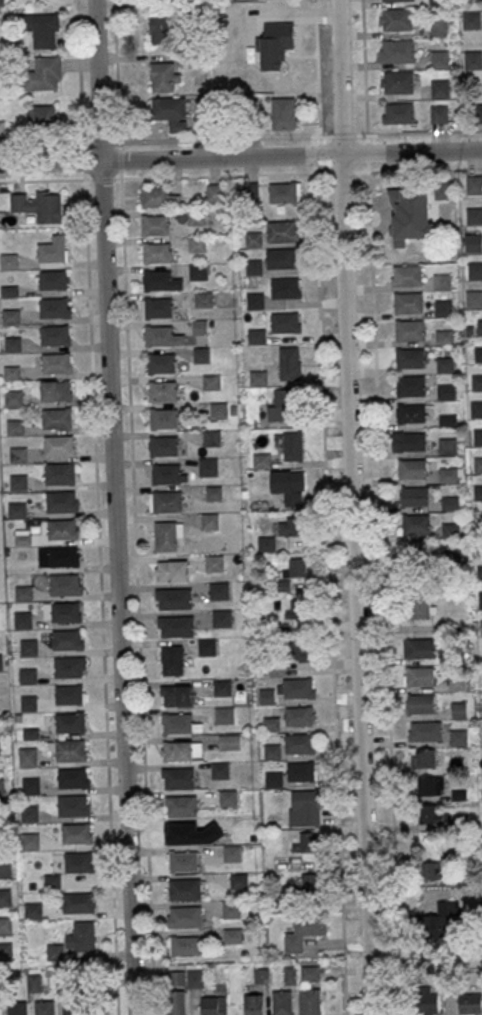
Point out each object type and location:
building: (391, 0)
building: (1, 3)
building: (397, 19)
building: (471, 19)
building: (43, 29)
building: (161, 29)
building: (274, 43)
building: (398, 50)
building: (439, 58)
building: (473, 58)
road: (363, 67)
road: (116, 70)
building: (44, 74)
building: (164, 77)
building: (399, 81)
building: (439, 88)
road: (80, 89)
building: (170, 112)
building: (283, 113)
building: (398, 113)
building: (438, 113)
building: (478, 113)
building: (42, 115)
road: (183, 139)
road: (366, 151)
road: (240, 156)
road: (119, 159)
road: (183, 176)
building: (474, 184)
building: (214, 192)
building: (284, 192)
building: (157, 197)
building: (38, 205)
building: (195, 216)
building: (473, 216)
building: (413, 217)
building: (155, 224)
building: (283, 231)
building: (253, 239)
building: (472, 242)
building: (196, 244)
building: (52, 249)
building: (156, 253)
building: (281, 258)
building: (8, 261)
building: (254, 267)
building: (474, 270)
building: (197, 271)
building: (406, 275)
building: (53, 279)
building: (160, 280)
building: (442, 281)
building: (285, 288)
building: (474, 298)
building: (204, 299)
building: (255, 301)
building: (407, 302)
building: (158, 307)
building: (442, 307)
building: (54, 308)
building: (11, 316)
building: (285, 323)
building: (199, 327)
building: (479, 327)
building: (408, 329)
building: (54, 335)
building: (162, 336)
building: (257, 336)
building: (444, 337)
building: (13, 344)
building: (477, 354)
building: (201, 355)
building: (409, 358)
building: (56, 363)
building: (160, 363)
building: (289, 363)
building: (445, 364)
building: (11, 373)
building: (258, 378)
building: (211, 382)
building: (477, 383)
building: (409, 385)
building: (55, 390)
building: (161, 391)
building: (446, 391)
building: (13, 398)
building: (281, 405)
building: (218, 409)
building: (475, 409)
building: (410, 413)
building: (56, 418)
building: (163, 418)
building: (14, 427)
building: (477, 437)
building: (211, 438)
building: (410, 441)
building: (58, 445)
building: (163, 446)
building: (293, 446)
building: (447, 446)
building: (18, 455)
building: (262, 461)
building: (478, 465)
building: (208, 466)
building: (410, 469)
building: (59, 473)
building: (165, 474)
building: (449, 474)
building: (18, 482)
building: (289, 486)
building: (213, 493)
building: (478, 493)
building: (413, 495)
building: (61, 501)
building: (166, 501)
building: (449, 502)
road: (113, 507)
road: (326, 507)
road: (353, 507)
building: (17, 510)
building: (209, 521)
building: (415, 524)
building: (291, 526)
building: (62, 529)
building: (450, 530)
building: (167, 535)
building: (266, 544)
building: (419, 554)
building: (62, 556)
building: (213, 563)
building: (296, 567)
building: (171, 571)
building: (479, 574)
building: (66, 584)
building: (219, 591)
building: (23, 593)
road: (384, 593)
road: (136, 596)
road: (100, 597)
building: (174, 598)
building: (480, 599)
building: (421, 606)
building: (294, 608)
building: (61, 611)
building: (221, 618)
building: (23, 619)
building: (176, 626)
building: (480, 627)
building: (67, 639)
building: (207, 646)
building: (28, 647)
building: (419, 648)
building: (301, 650)
building: (172, 660)
building: (0, 662)
building: (69, 666)
building: (419, 676)
building: (457, 683)
building: (222, 687)
building: (297, 688)
building: (69, 694)
building: (176, 695)
building: (266, 696)
building: (418, 704)
building: (224, 715)
building: (299, 716)
building: (70, 722)
building: (179, 723)
building: (271, 724)
building: (425, 731)
building: (458, 737)
building: (230, 742)
building: (299, 743)
building: (68, 749)
building: (181, 751)
building: (272, 751)
building: (27, 757)
building: (423, 758)
building: (220, 770)
building: (301, 772)
building: (178, 777)
building: (73, 778)
building: (274, 779)
building: (430, 785)
building: (31, 786)
building: (227, 798)
building: (73, 805)
building: (180, 805)
building: (304, 807)
building: (29, 813)
building: (430, 814)
building: (231, 825)
building: (76, 833)
building: (180, 833)
building: (30, 841)
building: (307, 842)
building: (231, 853)
building: (183, 861)
building: (79, 862)
building: (4, 866)
building: (433, 870)
building: (238, 879)
building: (52, 881)
building: (309, 884)
building: (184, 889)
building: (5, 897)
building: (79, 902)
building: (231, 908)
building: (33, 910)
building: (184, 917)
building: (440, 920)
building: (5, 925)
building: (304, 932)
building: (85, 936)
building: (232, 936)
building: (185, 945)
building: (6, 951)
building: (310, 973)
building: (290, 974)
building: (34, 983)
building: (181, 989)
building: (425, 1000)
building: (282, 1002)
building: (309, 1002)
building: (253, 1004)
building: (470, 1004)
building: (213, 1005)
building: (44, 1007)
building: (16, 1008)

